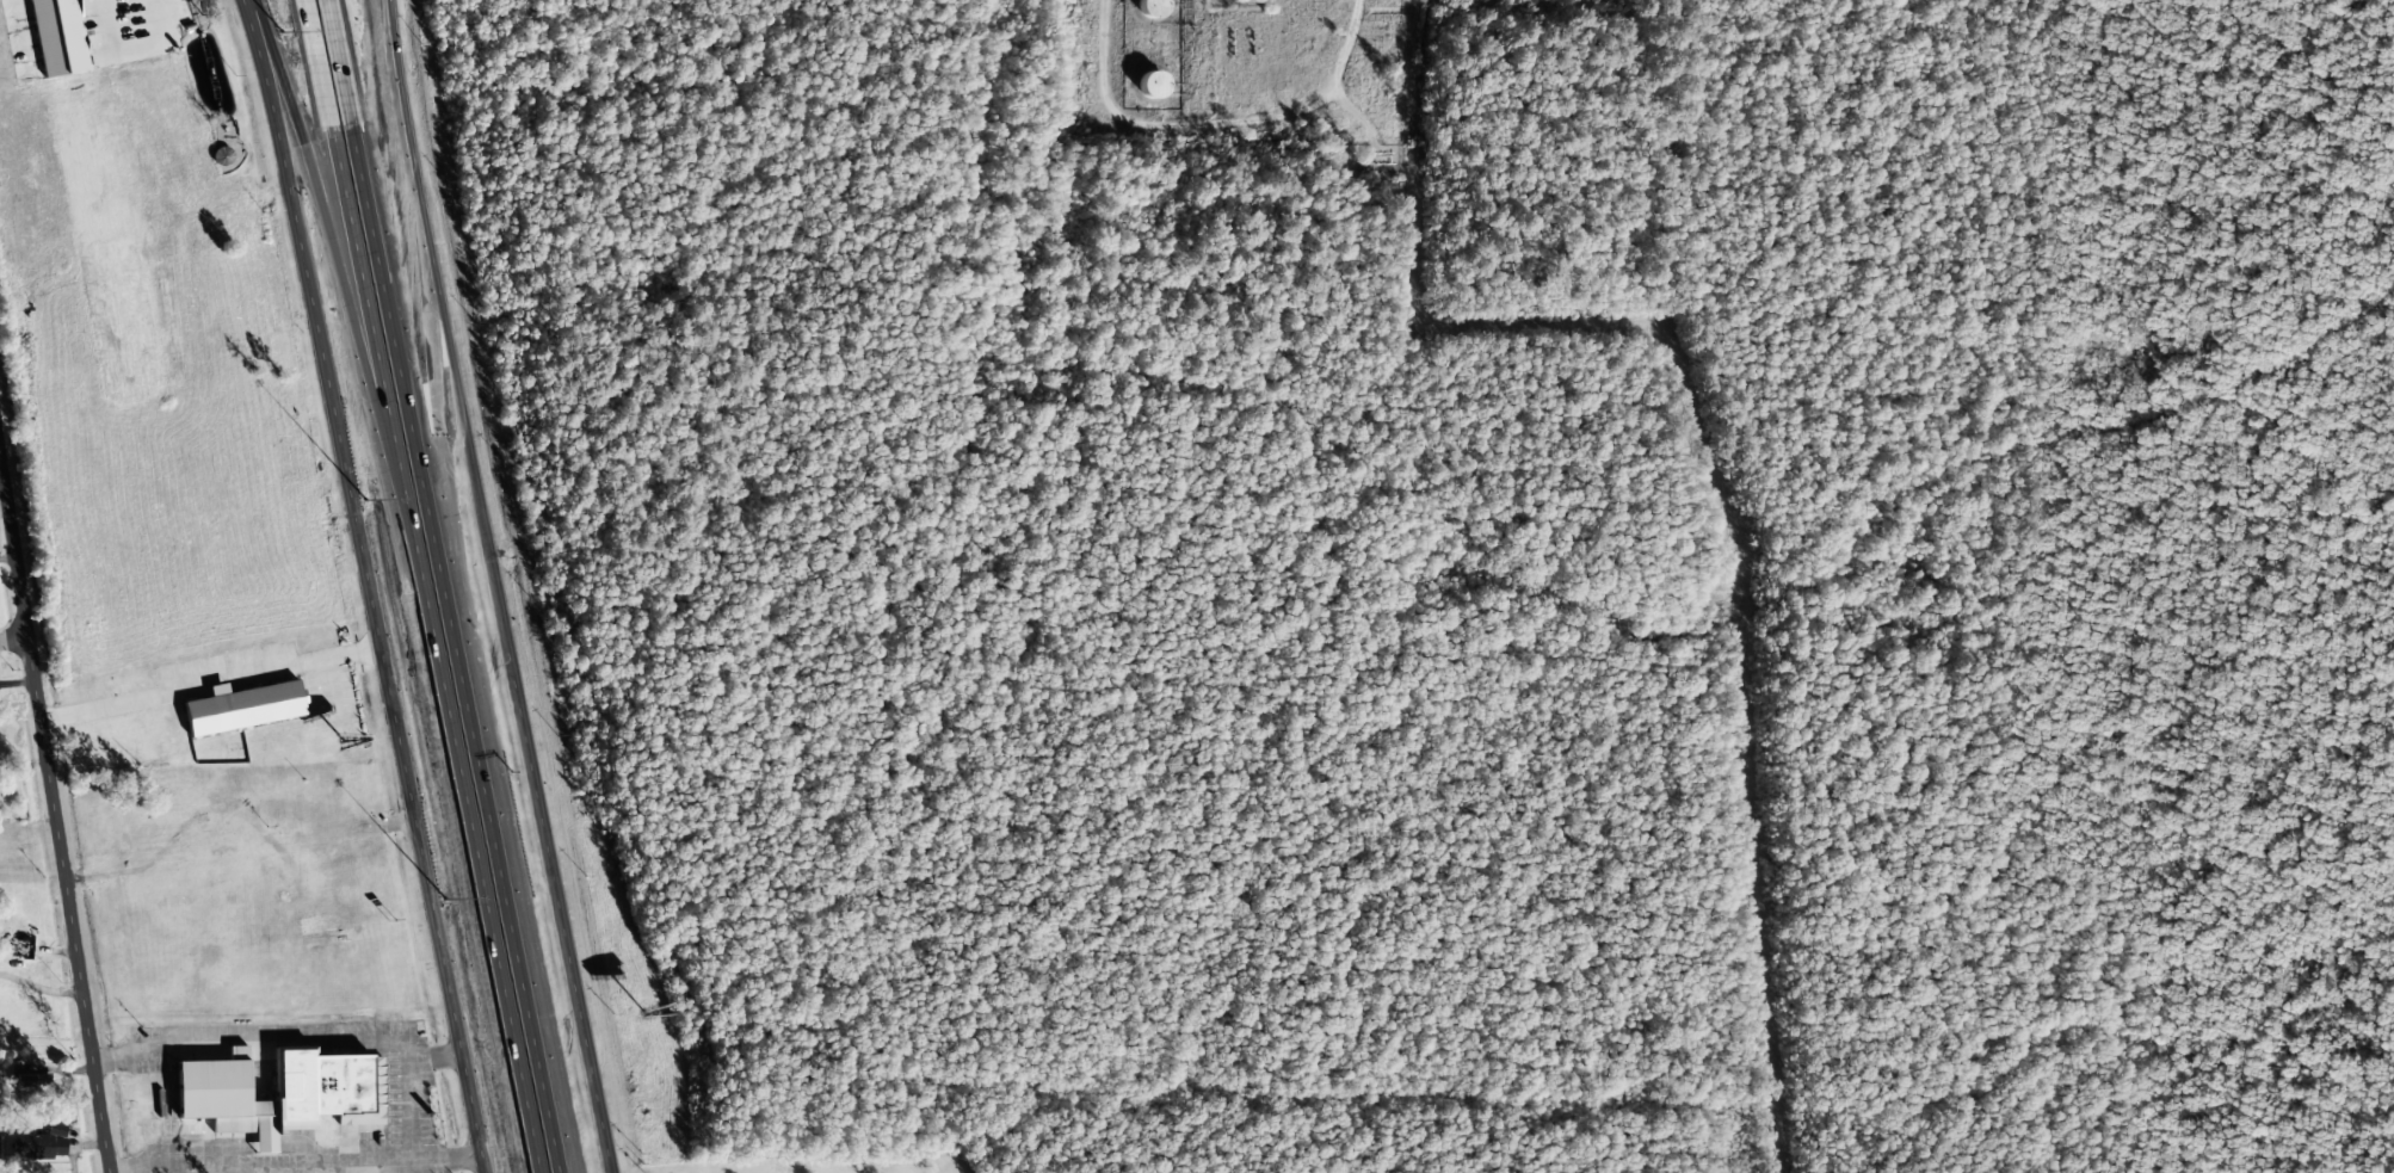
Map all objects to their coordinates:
building: (1150, 8)
road: (172, 10)
road: (24, 37)
building: (44, 39)
road: (341, 63)
road: (315, 64)
building: (1150, 85)
building: (222, 156)
road: (387, 192)
road: (322, 214)
road: (368, 585)
road: (496, 586)
road: (14, 643)
road: (455, 649)
road: (434, 650)
building: (242, 708)
road: (55, 810)
building: (280, 1093)
building: (41, 1144)

